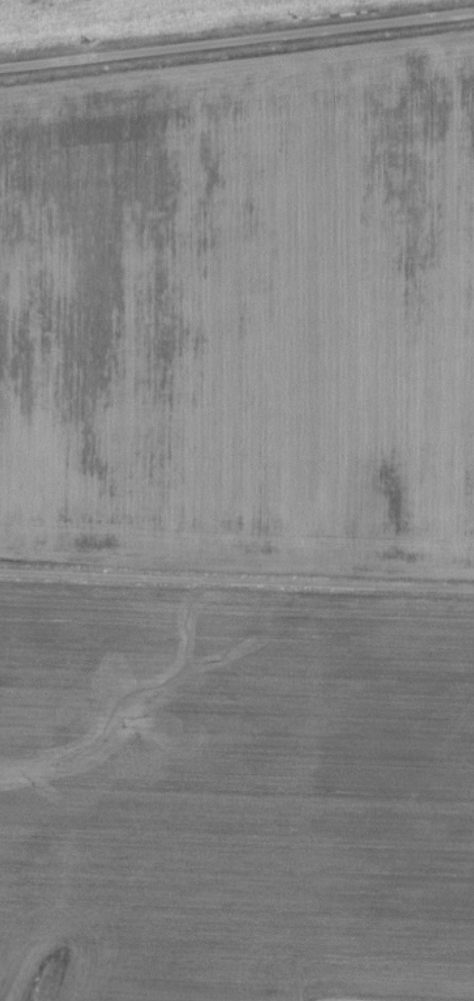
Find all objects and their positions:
road: (237, 40)
road: (236, 580)

